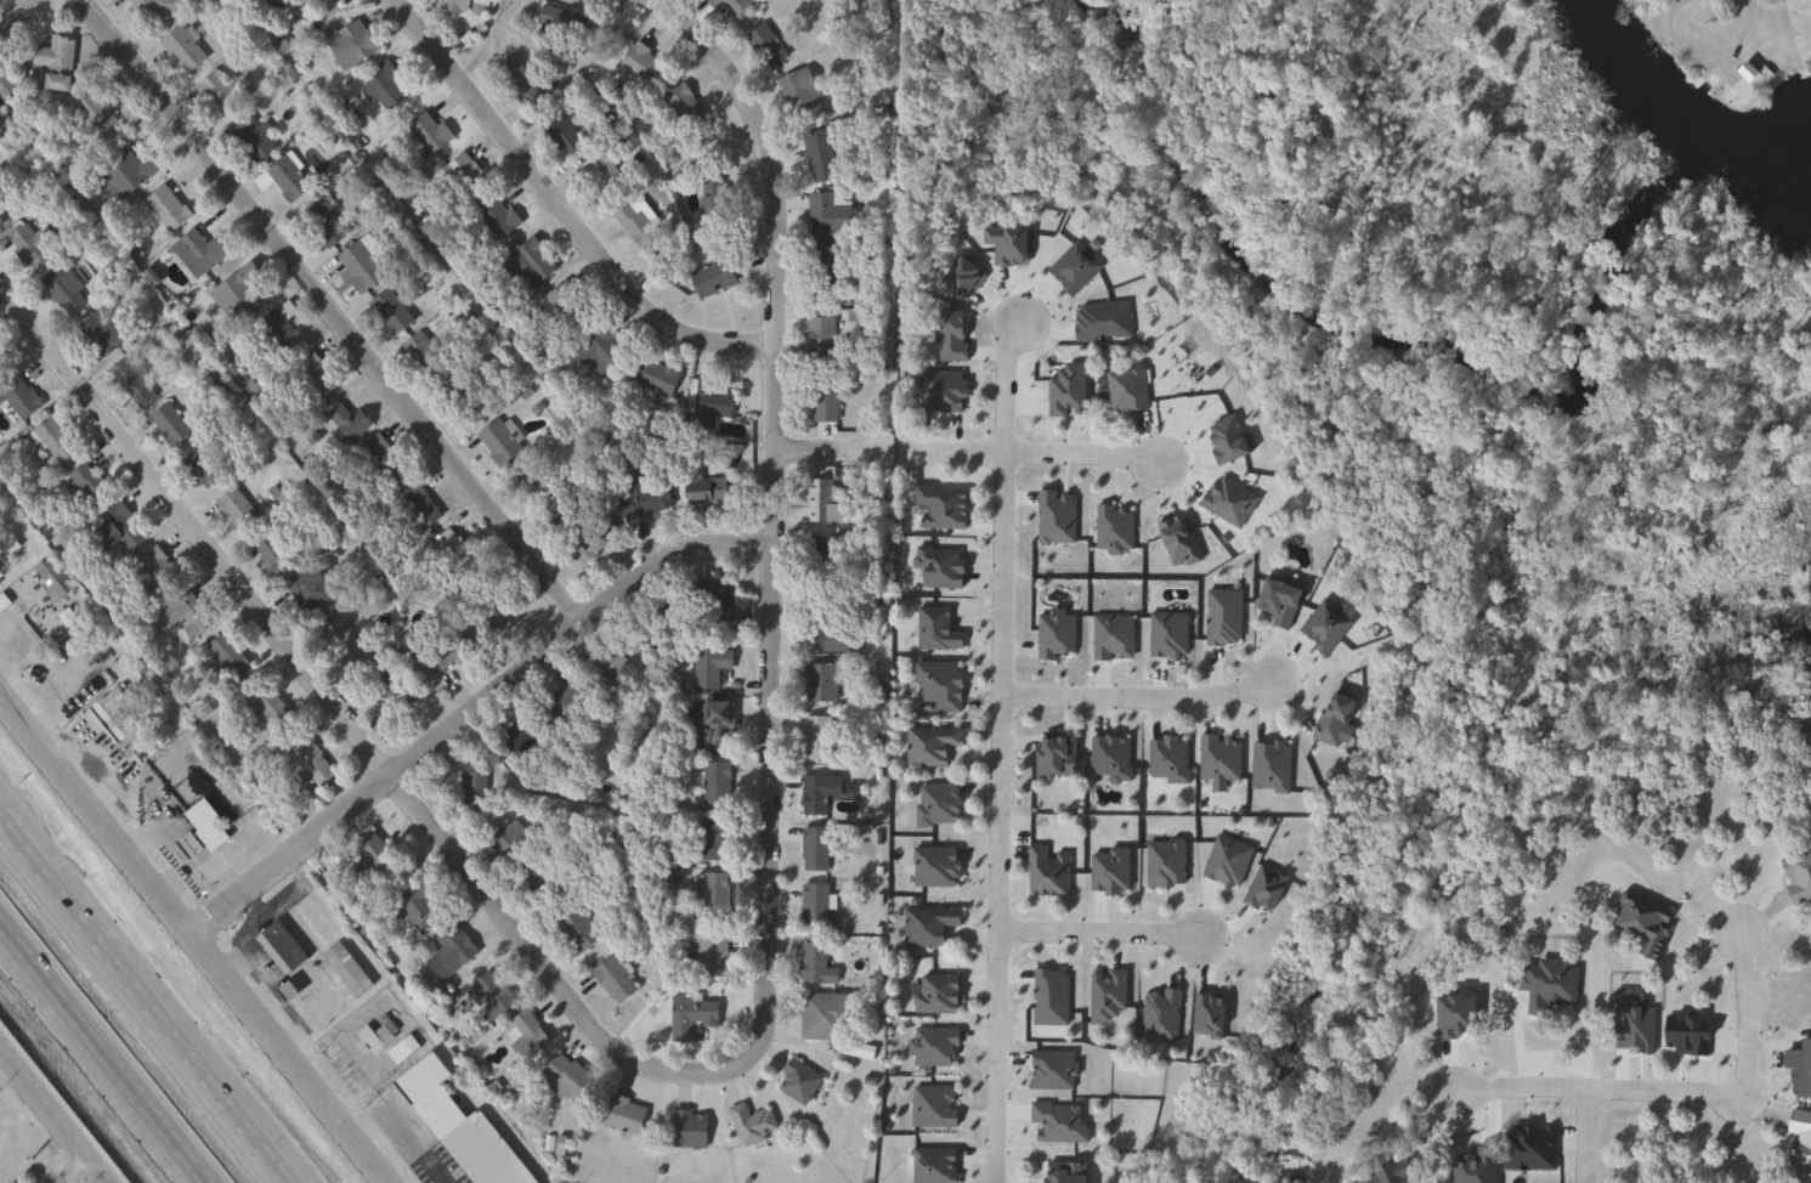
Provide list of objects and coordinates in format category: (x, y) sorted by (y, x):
building: (452, 2)
building: (730, 7)
building: (149, 10)
road: (18, 13)
building: (559, 23)
building: (344, 44)
building: (763, 46)
building: (179, 50)
road: (1705, 56)
building: (52, 63)
building: (639, 63)
building: (515, 81)
building: (1743, 81)
building: (381, 90)
building: (6, 91)
building: (796, 91)
building: (215, 96)
building: (681, 108)
building: (95, 117)
building: (423, 135)
building: (249, 140)
building: (562, 140)
building: (816, 157)
building: (600, 172)
building: (124, 175)
building: (462, 175)
building: (281, 179)
road: (564, 206)
building: (163, 209)
building: (2, 215)
building: (824, 216)
building: (494, 217)
building: (636, 223)
building: (318, 226)
building: (26, 247)
building: (198, 251)
building: (524, 266)
building: (356, 267)
building: (426, 272)
building: (822, 277)
building: (711, 278)
building: (61, 290)
building: (236, 293)
building: (564, 305)
road: (329, 309)
building: (386, 312)
building: (97, 335)
building: (272, 335)
building: (816, 344)
building: (596, 352)
building: (419, 356)
building: (1, 363)
building: (310, 375)
building: (652, 377)
building: (130, 383)
building: (1124, 389)
building: (17, 396)
building: (459, 398)
building: (820, 403)
building: (703, 404)
building: (344, 424)
building: (165, 425)
building: (51, 440)
building: (497, 442)
road: (832, 452)
road: (1026, 457)
building: (377, 463)
building: (197, 468)
building: (85, 482)
building: (701, 492)
building: (822, 498)
building: (640, 504)
building: (415, 506)
building: (231, 508)
building: (939, 508)
road: (771, 511)
building: (114, 527)
building: (575, 549)
building: (268, 553)
building: (449, 554)
building: (819, 561)
building: (153, 574)
building: (49, 578)
building: (307, 590)
building: (1274, 600)
building: (717, 601)
building: (366, 602)
building: (489, 612)
building: (185, 615)
building: (830, 630)
building: (340, 644)
building: (225, 650)
building: (441, 655)
building: (706, 668)
building: (602, 670)
building: (817, 683)
building: (936, 685)
building: (386, 687)
road: (1139, 698)
building: (559, 704)
road: (465, 706)
building: (265, 707)
building: (108, 714)
road: (345, 719)
building: (713, 725)
building: (814, 738)
building: (509, 741)
building: (928, 745)
road: (1001, 751)
building: (1052, 757)
building: (307, 762)
building: (713, 783)
building: (470, 787)
building: (816, 793)
building: (934, 804)
building: (202, 826)
building: (711, 839)
building: (508, 843)
building: (811, 849)
building: (372, 854)
building: (933, 867)
building: (1045, 870)
building: (1796, 877)
building: (533, 881)
building: (704, 890)
building: (811, 906)
building: (417, 907)
building: (573, 928)
road: (1100, 930)
road: (188, 940)
building: (278, 946)
building: (448, 947)
building: (701, 957)
building: (811, 963)
building: (341, 969)
building: (610, 980)
building: (933, 994)
building: (487, 996)
road: (141, 1008)
road: (1745, 1011)
building: (687, 1015)
building: (821, 1015)
road: (412, 1018)
building: (525, 1034)
building: (374, 1040)
road: (1518, 1041)
building: (398, 1048)
building: (855, 1051)
road: (101, 1055)
road: (4, 1065)
building: (562, 1079)
building: (794, 1082)
road: (1595, 1087)
building: (619, 1115)
road: (51, 1117)
building: (748, 1123)
building: (459, 1127)
road: (402, 1128)
building: (685, 1128)
road: (1586, 1134)
road: (15, 1140)
building: (1798, 1144)
road: (72, 1172)
building: (1060, 1172)

